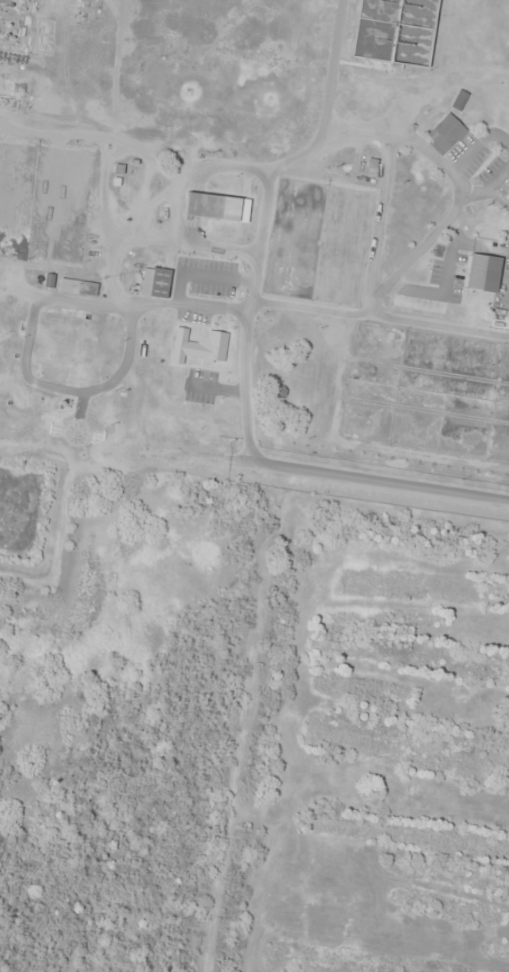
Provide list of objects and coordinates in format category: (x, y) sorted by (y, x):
wastewater plant: (171, 50)
building: (458, 100)
building: (445, 134)
building: (203, 206)
wastewater plant: (261, 225)
building: (482, 273)
building: (49, 281)
building: (155, 283)
building: (77, 287)
building: (207, 347)
wastewater plant: (427, 393)
road: (394, 486)

